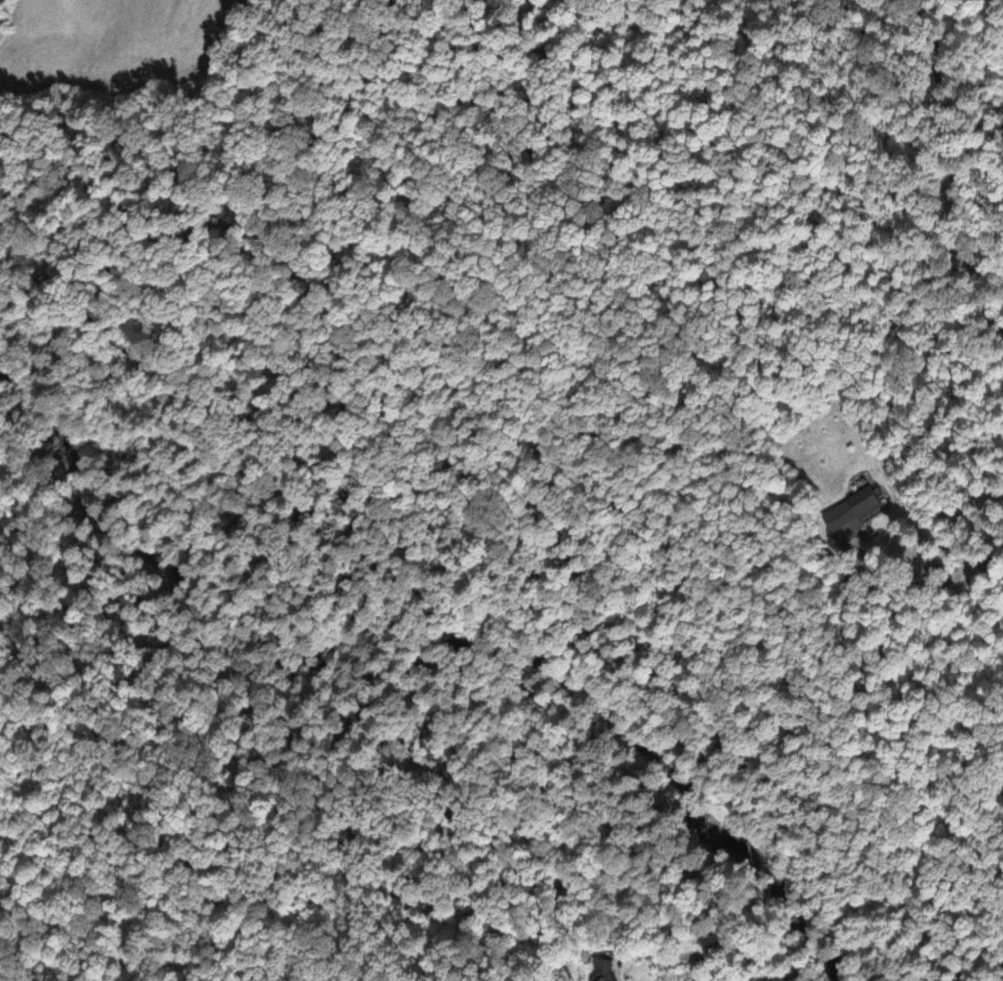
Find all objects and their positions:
road: (913, 159)
building: (865, 503)
building: (604, 971)
road: (1002, 980)

